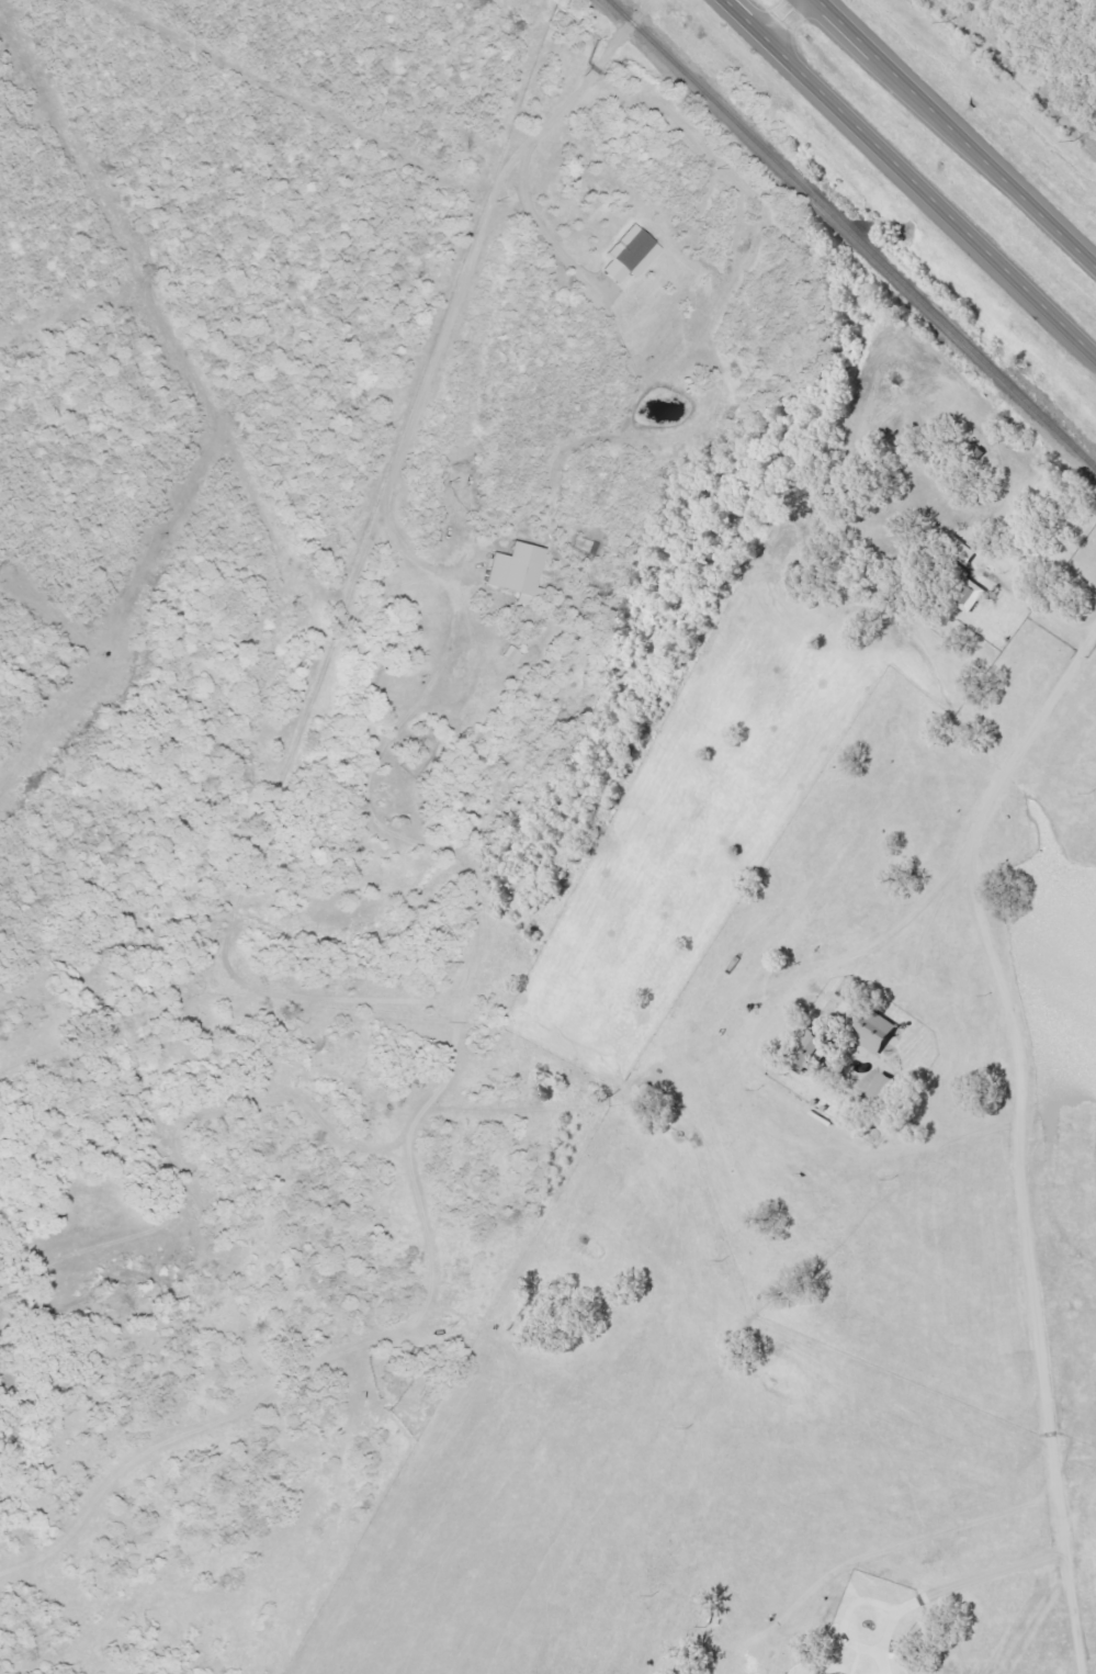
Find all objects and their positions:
road: (782, 18)
road: (958, 132)
road: (911, 178)
railway: (849, 236)
building: (632, 257)
road: (463, 272)
building: (518, 572)
building: (971, 596)
road: (1037, 755)
road: (957, 924)
building: (877, 1033)
building: (882, 1088)
road: (449, 1311)
building: (820, 1673)

